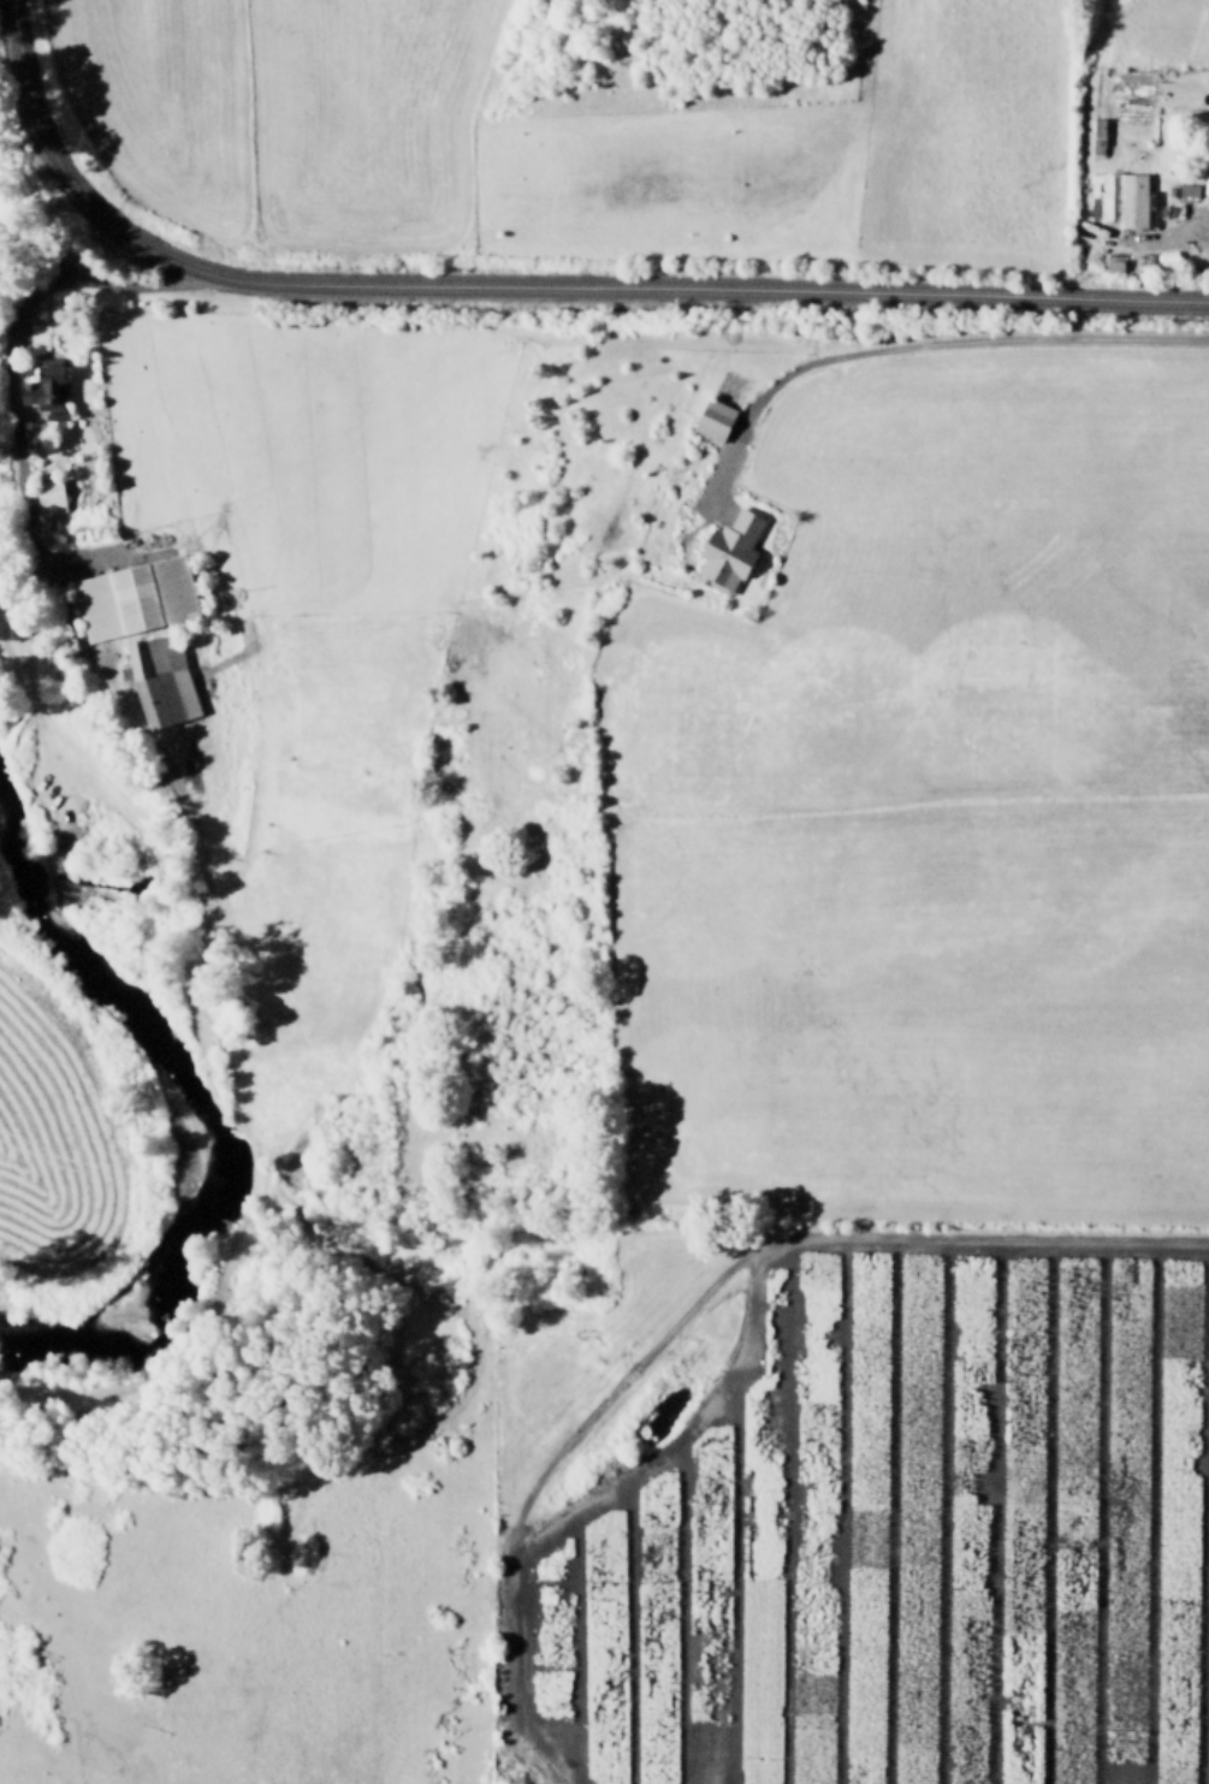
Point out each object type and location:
crop: (630, 123)
building: (1207, 166)
building: (1187, 189)
building: (1120, 197)
road: (1174, 238)
building: (1167, 259)
building: (1113, 265)
road: (54, 275)
road: (527, 283)
road: (937, 344)
building: (40, 386)
building: (711, 419)
building: (47, 497)
building: (725, 551)
building: (131, 597)
building: (158, 680)
river: (174, 1131)
crop: (32, 1134)

